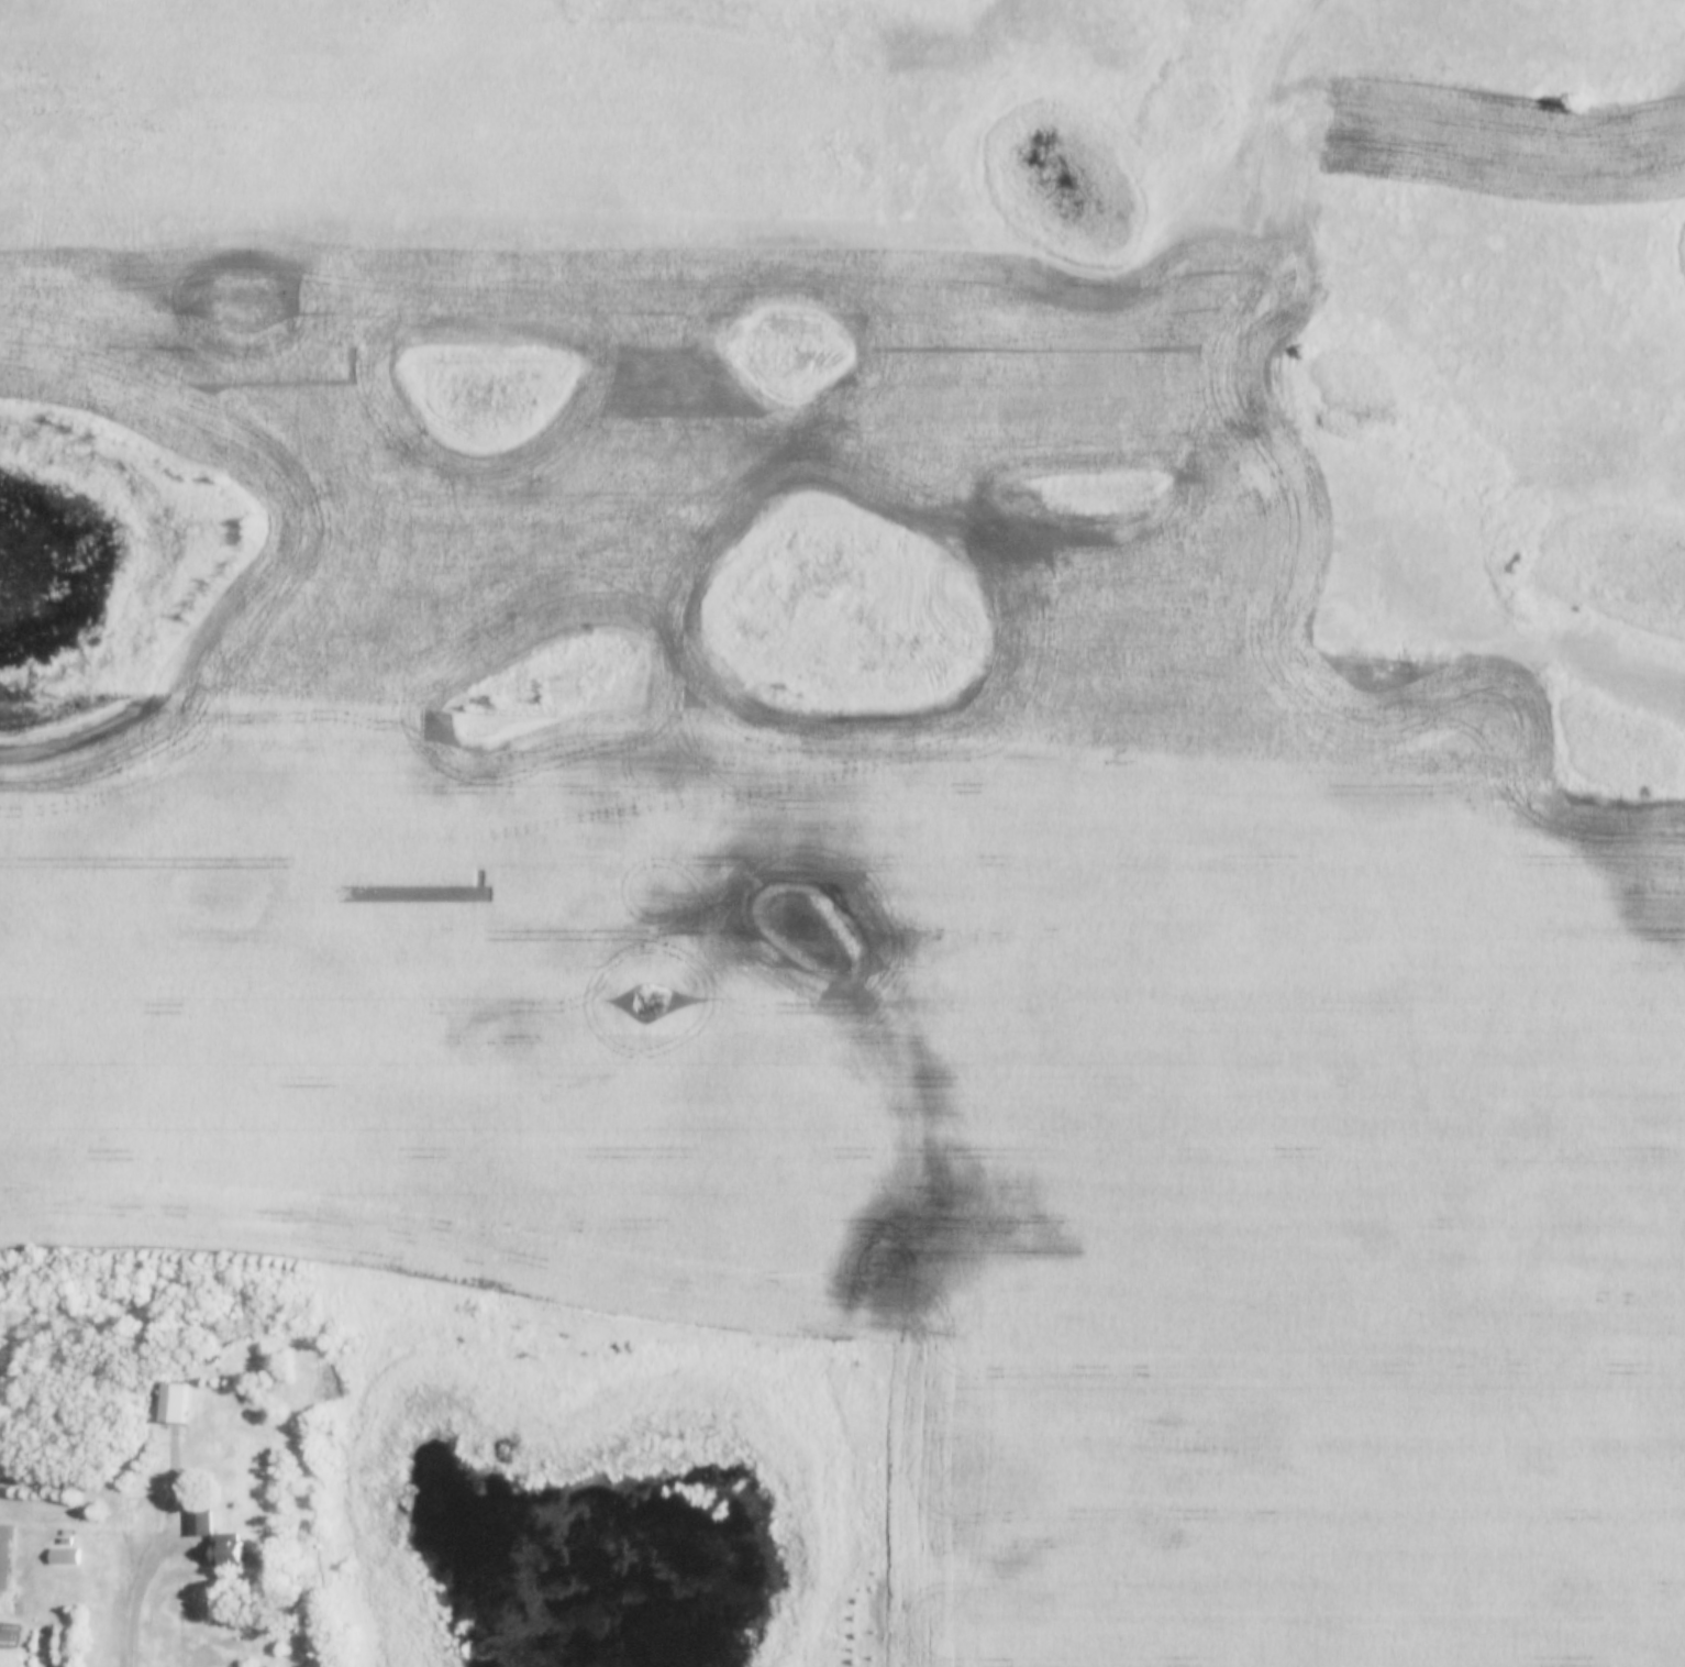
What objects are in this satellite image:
building: (173, 1401)
building: (213, 1537)
road: (159, 1547)
building: (65, 1552)
building: (5, 1556)

